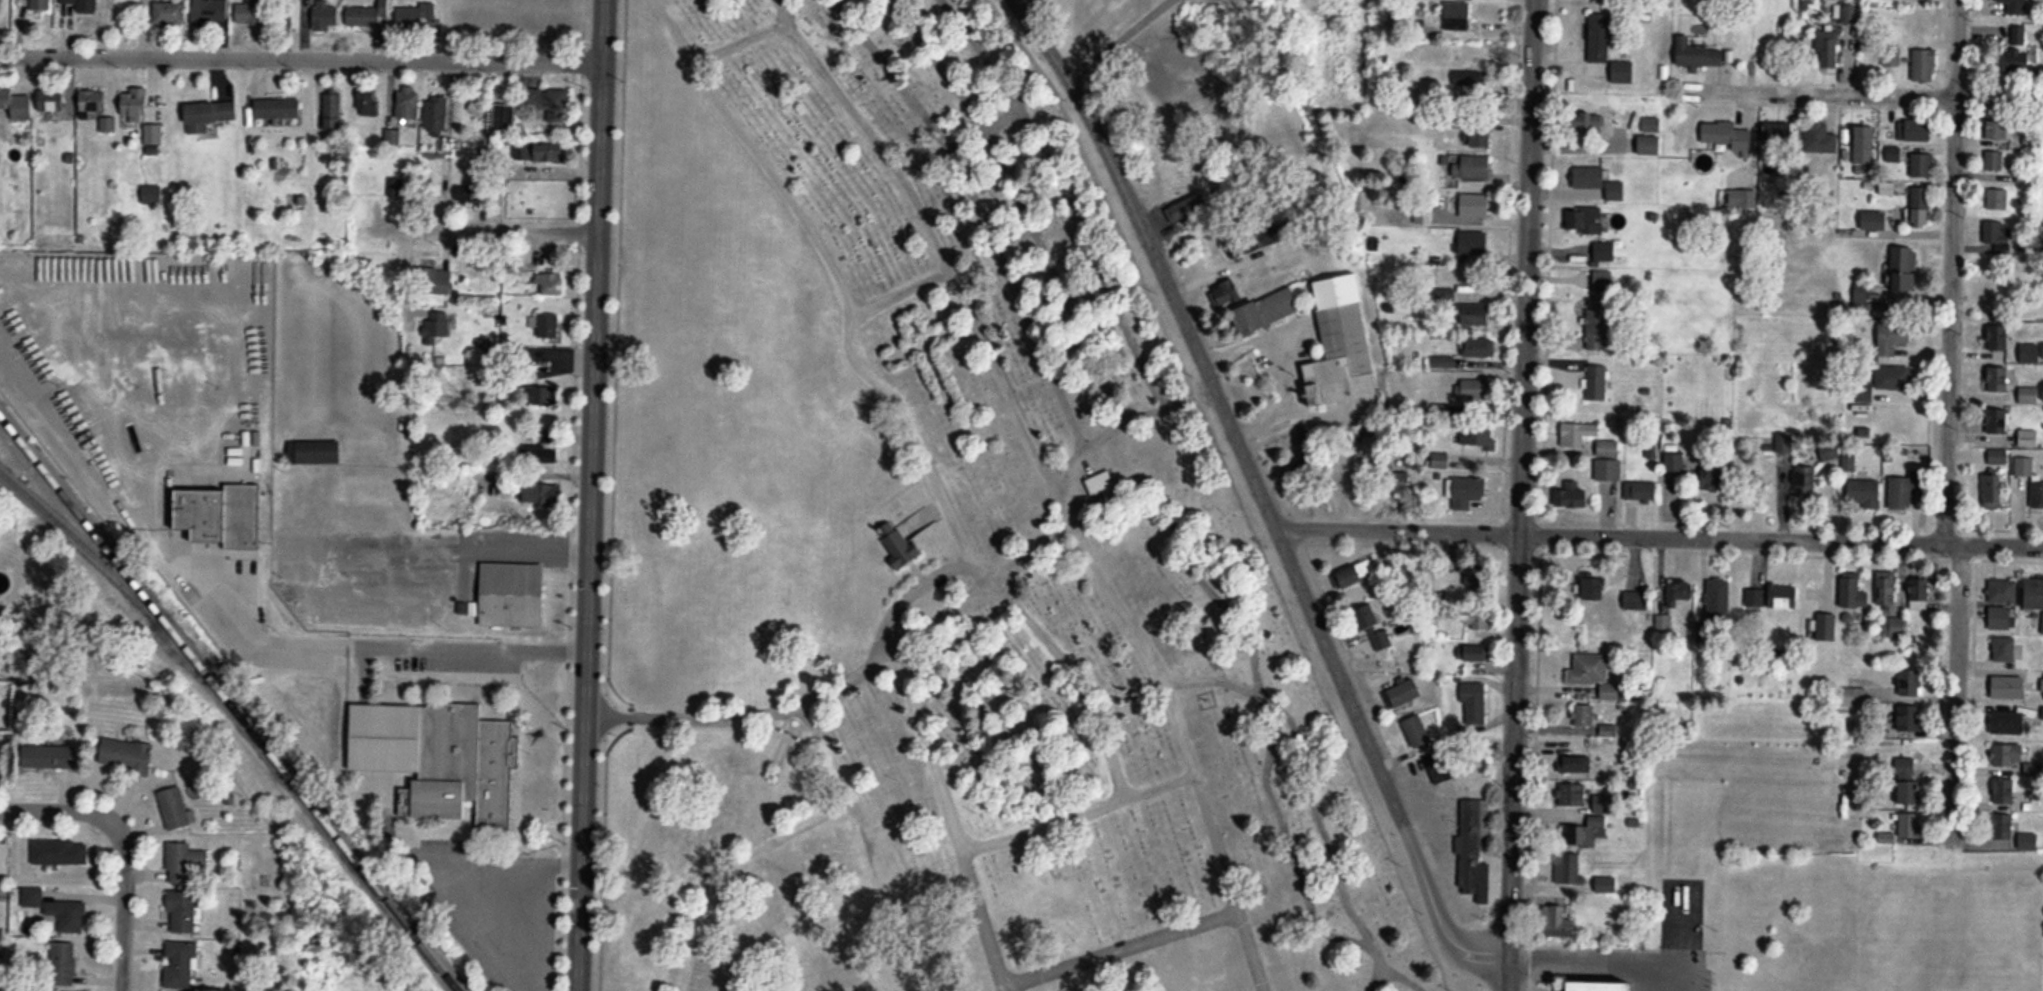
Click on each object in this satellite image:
building: (41, 5)
building: (79, 6)
building: (2016, 7)
building: (210, 11)
building: (251, 12)
building: (169, 13)
building: (369, 14)
building: (1457, 15)
building: (325, 16)
building: (409, 17)
building: (1600, 37)
building: (1839, 43)
building: (2020, 50)
road: (303, 53)
building: (1699, 54)
building: (1925, 65)
building: (1624, 72)
building: (1470, 78)
road: (1875, 93)
building: (53, 101)
building: (93, 102)
building: (136, 102)
building: (367, 103)
building: (408, 104)
building: (545, 104)
building: (17, 105)
building: (278, 108)
building: (334, 111)
building: (209, 115)
building: (437, 116)
building: (504, 118)
building: (1594, 122)
building: (1652, 124)
building: (1919, 130)
building: (1999, 130)
building: (1779, 133)
building: (1481, 135)
building: (1728, 135)
building: (154, 137)
building: (393, 138)
building: (1820, 138)
building: (1650, 145)
building: (1864, 145)
building: (541, 153)
building: (1994, 161)
building: (1921, 166)
building: (1474, 167)
building: (1590, 178)
building: (374, 185)
building: (402, 185)
building: (468, 191)
building: (152, 197)
building: (1997, 200)
building: (1476, 205)
building: (1920, 208)
building: (1186, 210)
building: (1588, 221)
building: (1874, 221)
road: (473, 230)
building: (1993, 233)
building: (1474, 243)
building: (1236, 248)
building: (1604, 252)
building: (1900, 270)
building: (434, 281)
building: (552, 285)
building: (1993, 289)
building: (1862, 299)
building: (1268, 312)
building: (1477, 315)
building: (437, 326)
building: (549, 326)
building: (1599, 327)
building: (1999, 338)
building: (1894, 339)
building: (1342, 346)
building: (1479, 347)
road: (1275, 363)
building: (1896, 378)
building: (2000, 379)
building: (1597, 382)
building: (1474, 389)
building: (543, 396)
building: (2029, 396)
road: (1946, 421)
building: (1998, 421)
building: (1578, 434)
building: (1477, 438)
building: (2028, 438)
building: (1609, 448)
building: (315, 452)
building: (541, 455)
building: (1998, 456)
building: (1440, 460)
building: (1674, 463)
building: (2024, 466)
building: (1608, 470)
building: (1303, 471)
building: (252, 476)
building: (1717, 479)
building: (1807, 482)
building: (1101, 484)
building: (1993, 490)
building: (1641, 491)
road: (1259, 492)
building: (1905, 492)
building: (1467, 493)
building: (1865, 493)
building: (547, 494)
road: (592, 495)
road: (1516, 495)
building: (2036, 495)
building: (1578, 496)
building: (208, 513)
road: (1395, 525)
road: (1778, 536)
railway: (85, 544)
building: (898, 544)
park: (939, 560)
building: (1357, 575)
building: (1475, 575)
building: (1886, 589)
building: (1597, 590)
building: (1852, 591)
building: (2002, 591)
building: (1680, 592)
building: (1920, 593)
building: (2036, 594)
building: (514, 595)
building: (1771, 597)
building: (1718, 600)
building: (1636, 601)
road: (941, 618)
building: (2042, 624)
building: (1894, 627)
building: (1375, 628)
road: (376, 642)
building: (2002, 649)
building: (1474, 654)
building: (1594, 675)
road: (1076, 678)
building: (1911, 682)
building: (2042, 685)
building: (2009, 687)
building: (1405, 695)
building: (1853, 697)
railway: (230, 702)
building: (1474, 702)
building: (1583, 716)
building: (1912, 718)
building: (2007, 723)
building: (1419, 732)
road: (1185, 747)
building: (127, 753)
building: (2009, 754)
building: (49, 755)
building: (442, 757)
building: (1576, 764)
building: (1441, 768)
building: (1909, 782)
building: (2005, 791)
building: (1572, 795)
building: (1603, 803)
road: (53, 806)
building: (174, 807)
road: (1079, 813)
road: (952, 820)
building: (1913, 825)
building: (2004, 827)
building: (1588, 833)
building: (2028, 841)
building: (1476, 851)
building: (61, 852)
building: (184, 860)
building: (1569, 870)
building: (32, 897)
road: (122, 900)
building: (182, 911)
building: (69, 915)
building: (1560, 922)
road: (1120, 948)
building: (64, 963)
road: (1618, 963)
building: (179, 964)
building: (1609, 985)

